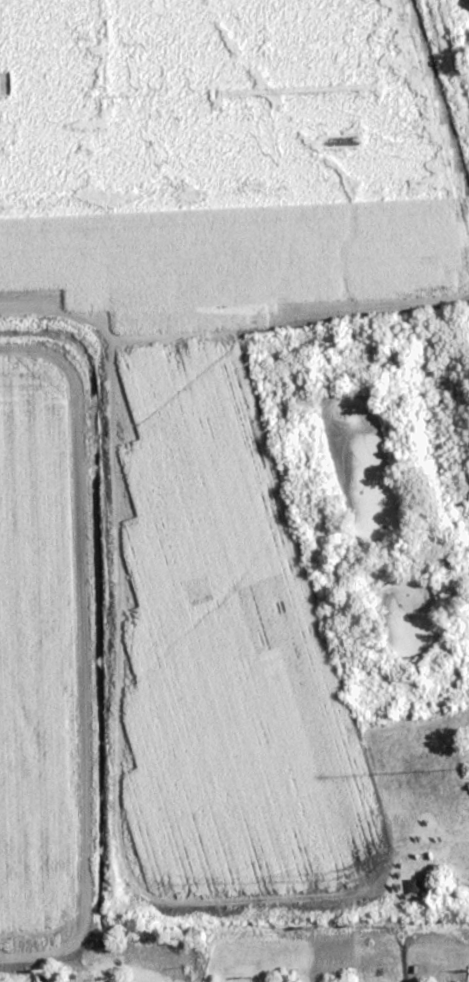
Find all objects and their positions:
road: (110, 428)
road: (230, 909)

